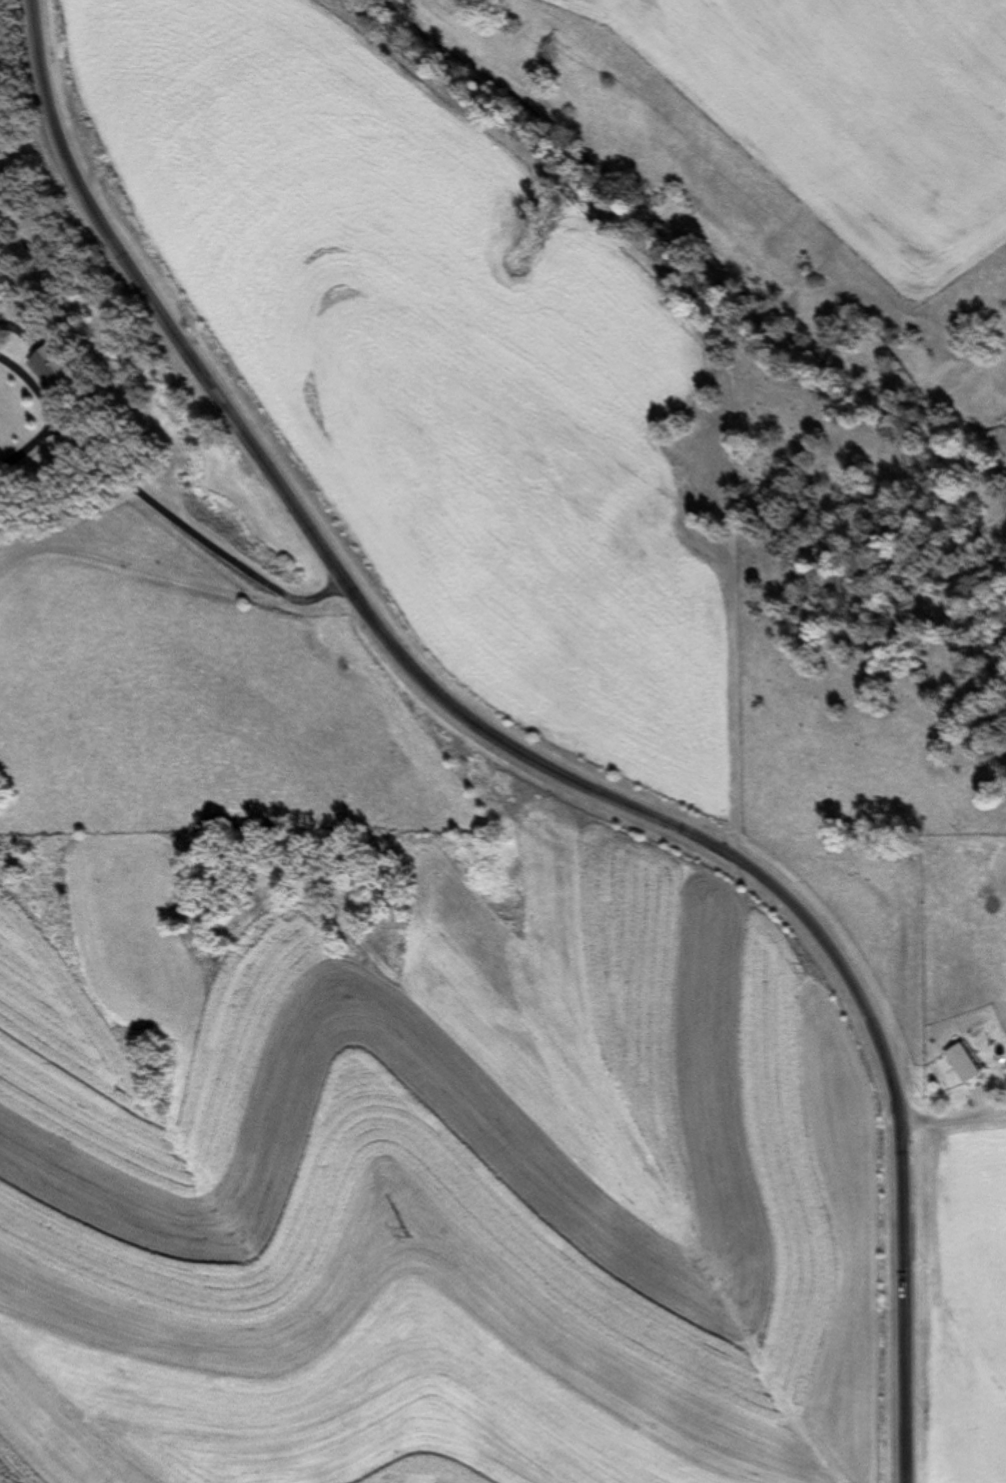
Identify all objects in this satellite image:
building: (57, 368)
road: (522, 751)
power tower: (810, 975)
building: (966, 1063)
road: (951, 1122)
power tower: (411, 1241)

